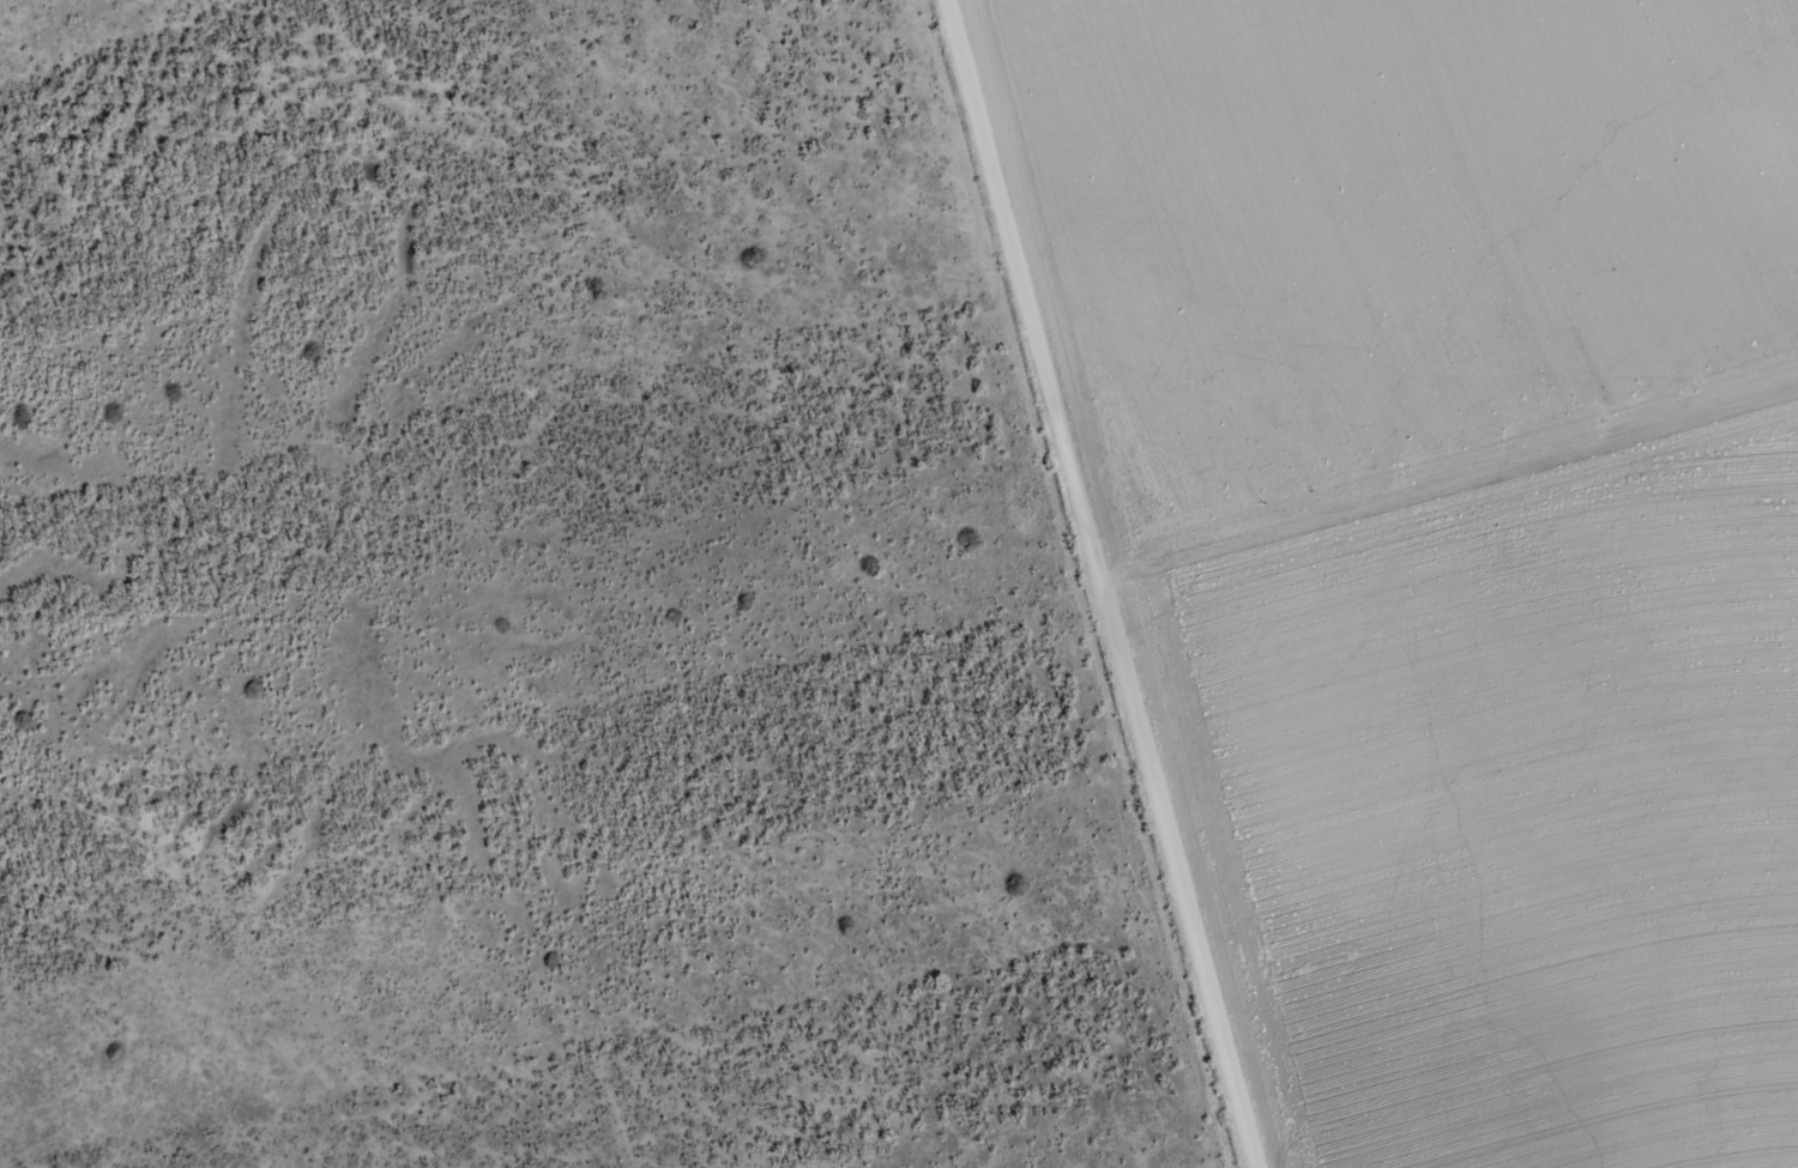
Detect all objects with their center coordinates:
road: (1033, 299)
road: (1459, 501)
road: (1181, 884)

